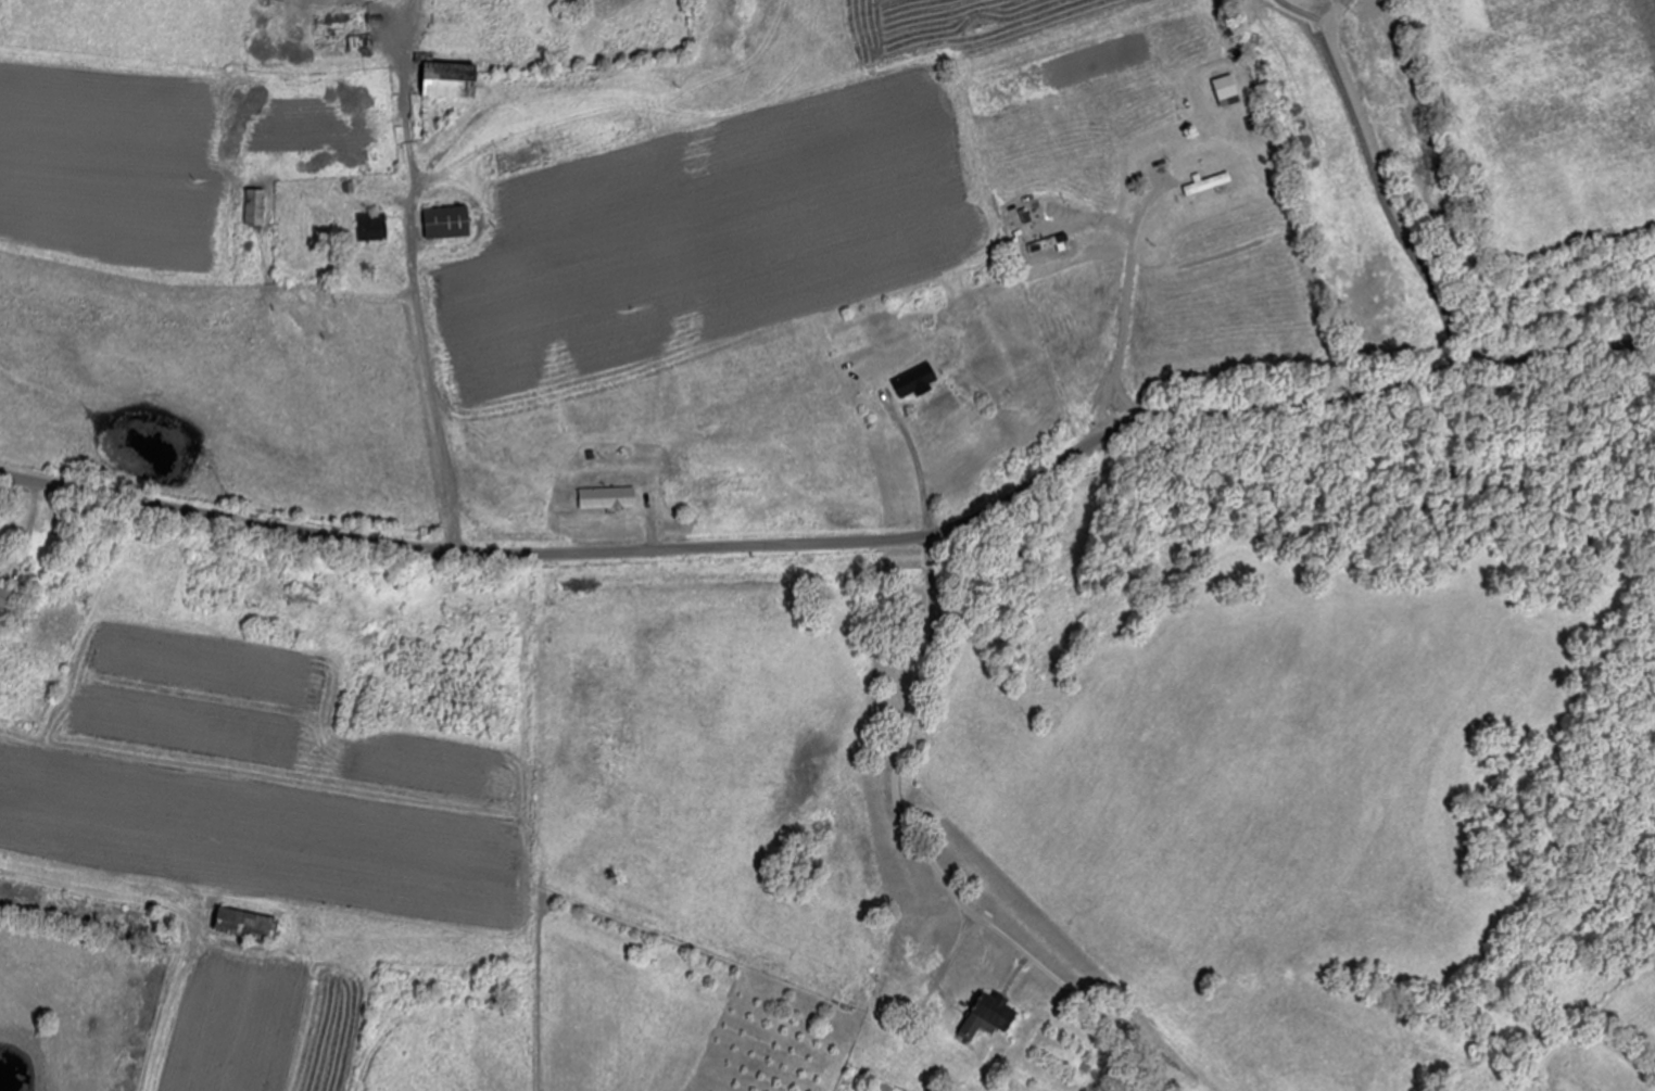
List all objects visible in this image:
building: (337, 35)
building: (447, 76)
building: (1209, 183)
road: (1387, 186)
building: (255, 207)
road: (1099, 207)
building: (447, 223)
building: (372, 227)
building: (1050, 242)
building: (917, 381)
road: (541, 409)
building: (608, 497)
road: (844, 543)
building: (3, 589)
building: (306, 593)
road: (998, 744)
building: (247, 924)
building: (989, 1015)

